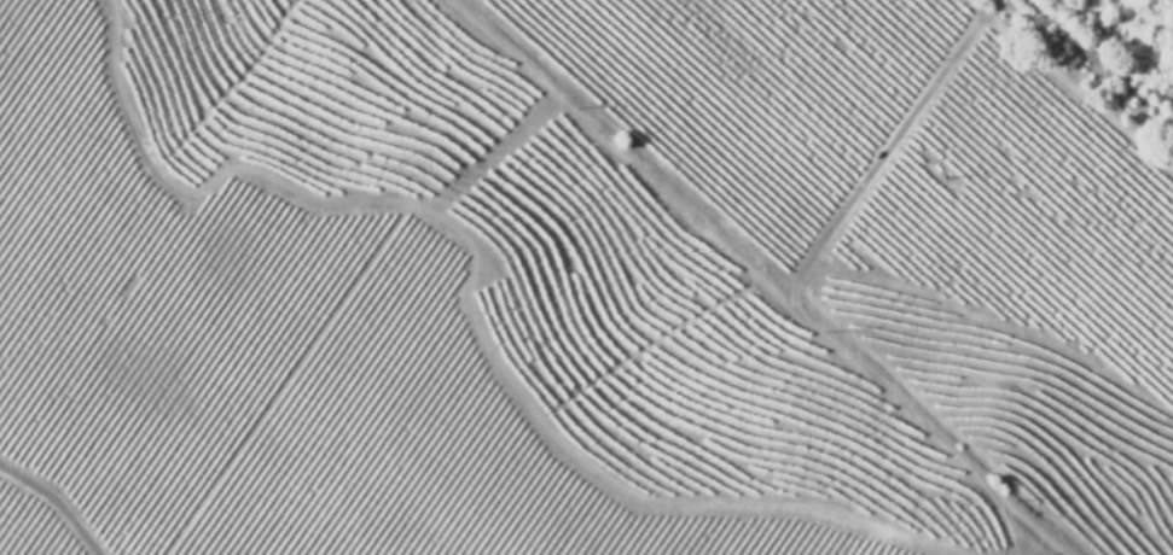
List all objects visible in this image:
railway: (1104, 57)

